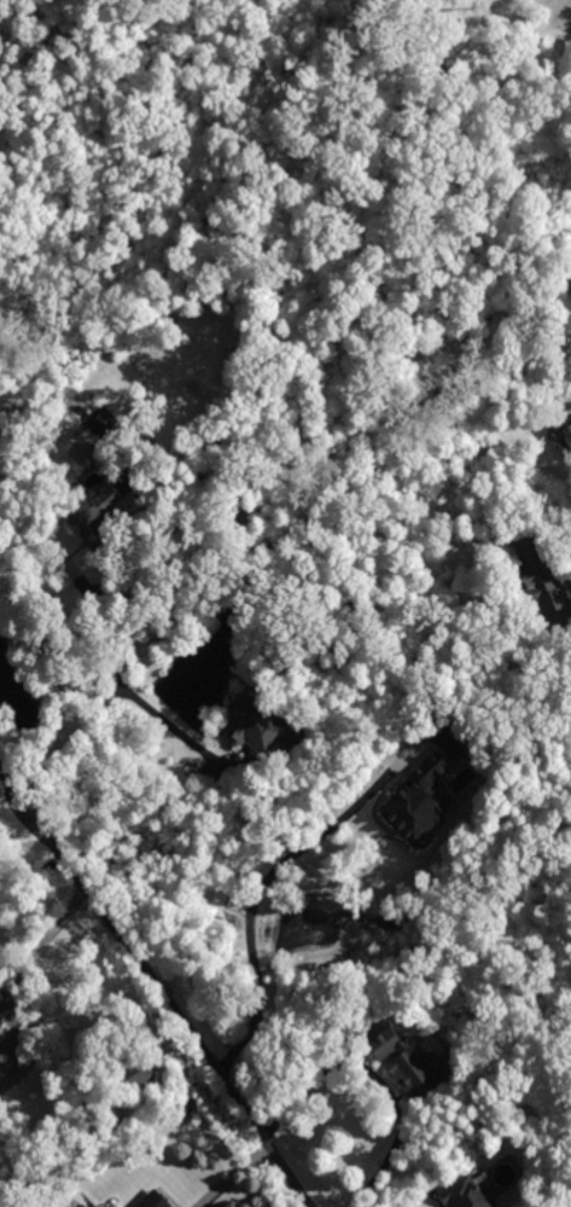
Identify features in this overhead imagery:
building: (567, 430)
building: (80, 445)
building: (98, 516)
building: (540, 573)
road: (106, 703)
building: (254, 727)
road: (176, 729)
building: (420, 801)
road: (264, 883)
road: (158, 986)
road: (21, 991)
building: (0, 1022)
building: (141, 1077)
road: (379, 1078)
road: (233, 1174)
building: (471, 1193)
building: (155, 1200)
building: (77, 1203)

